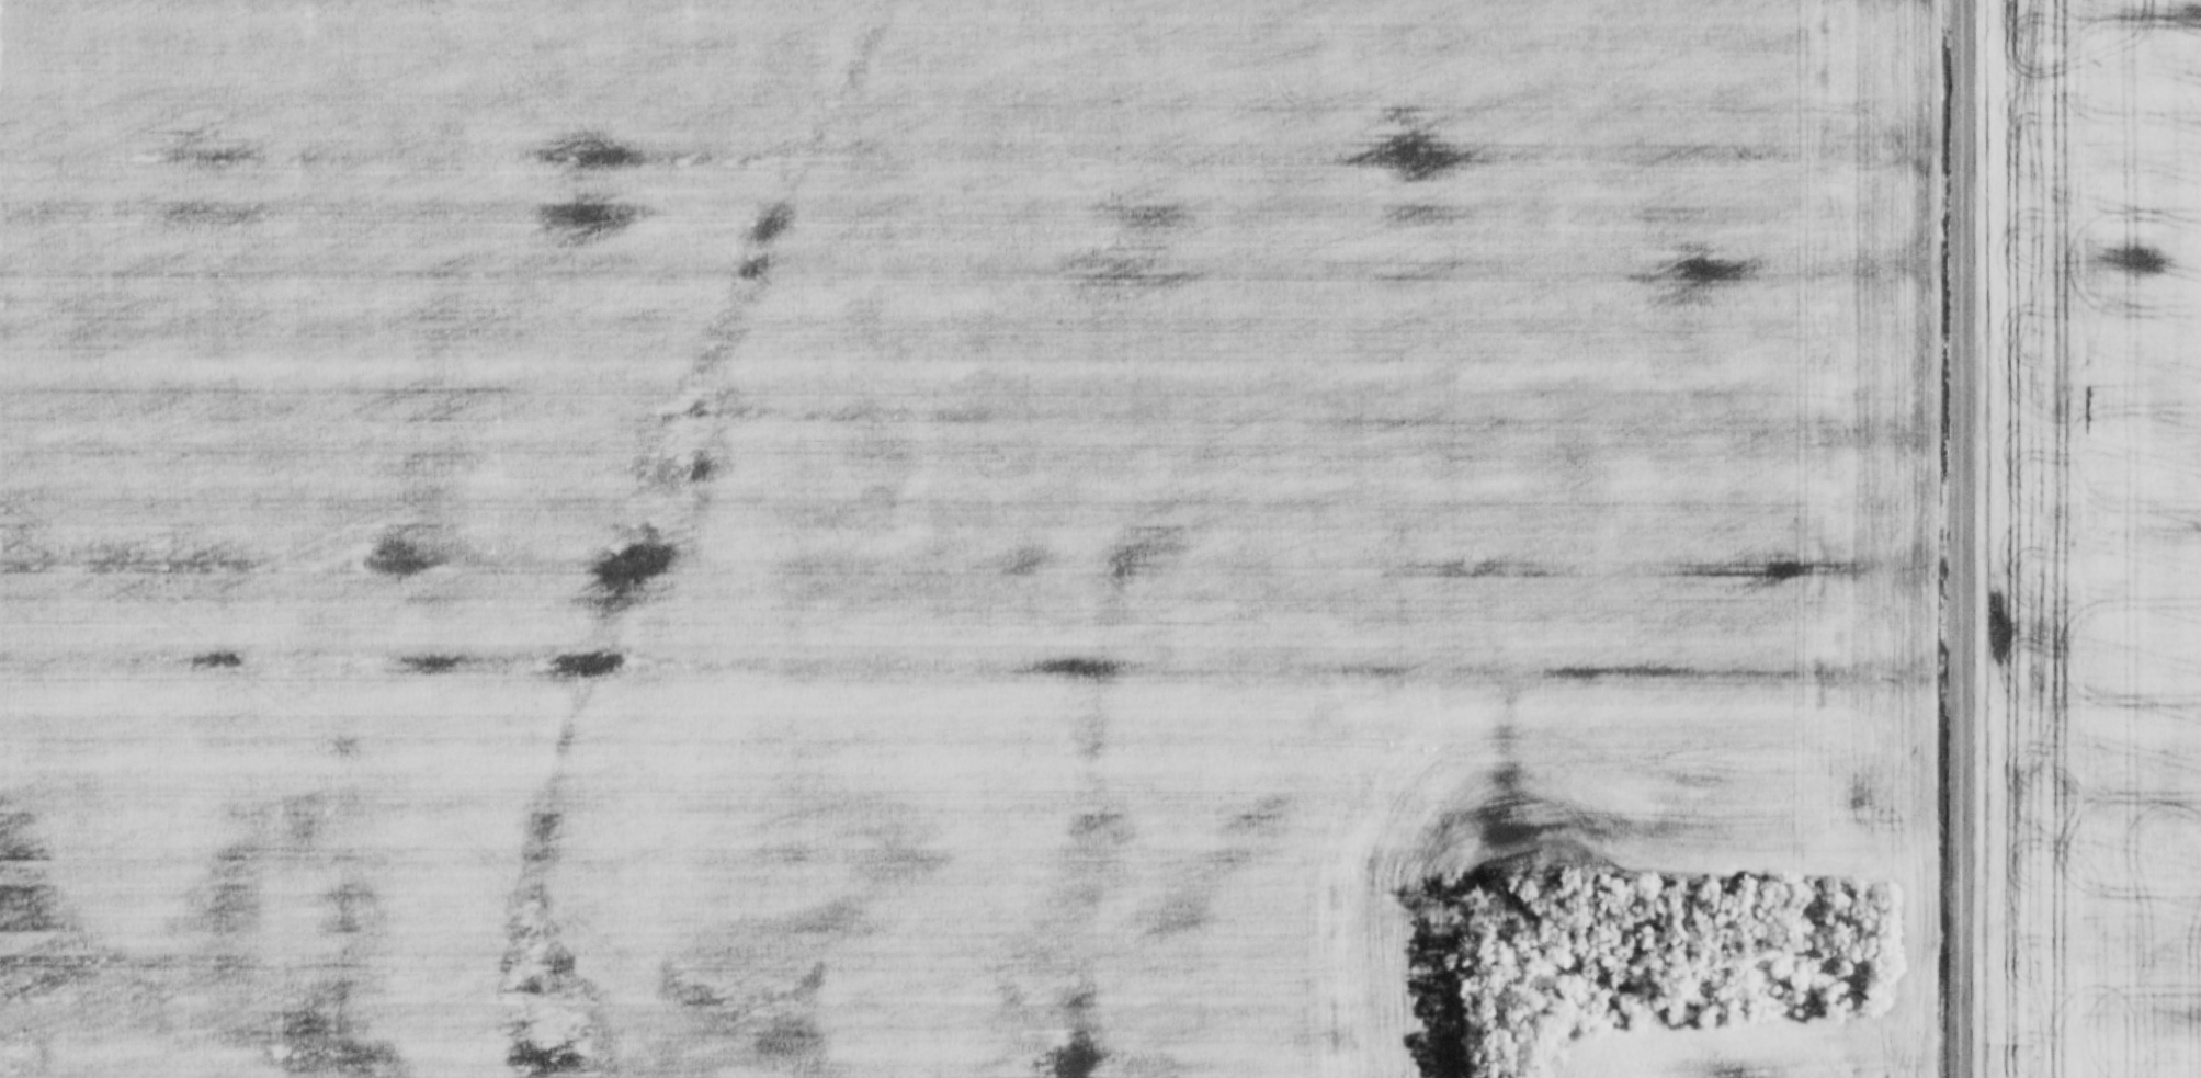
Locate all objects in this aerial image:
road: (1970, 538)

